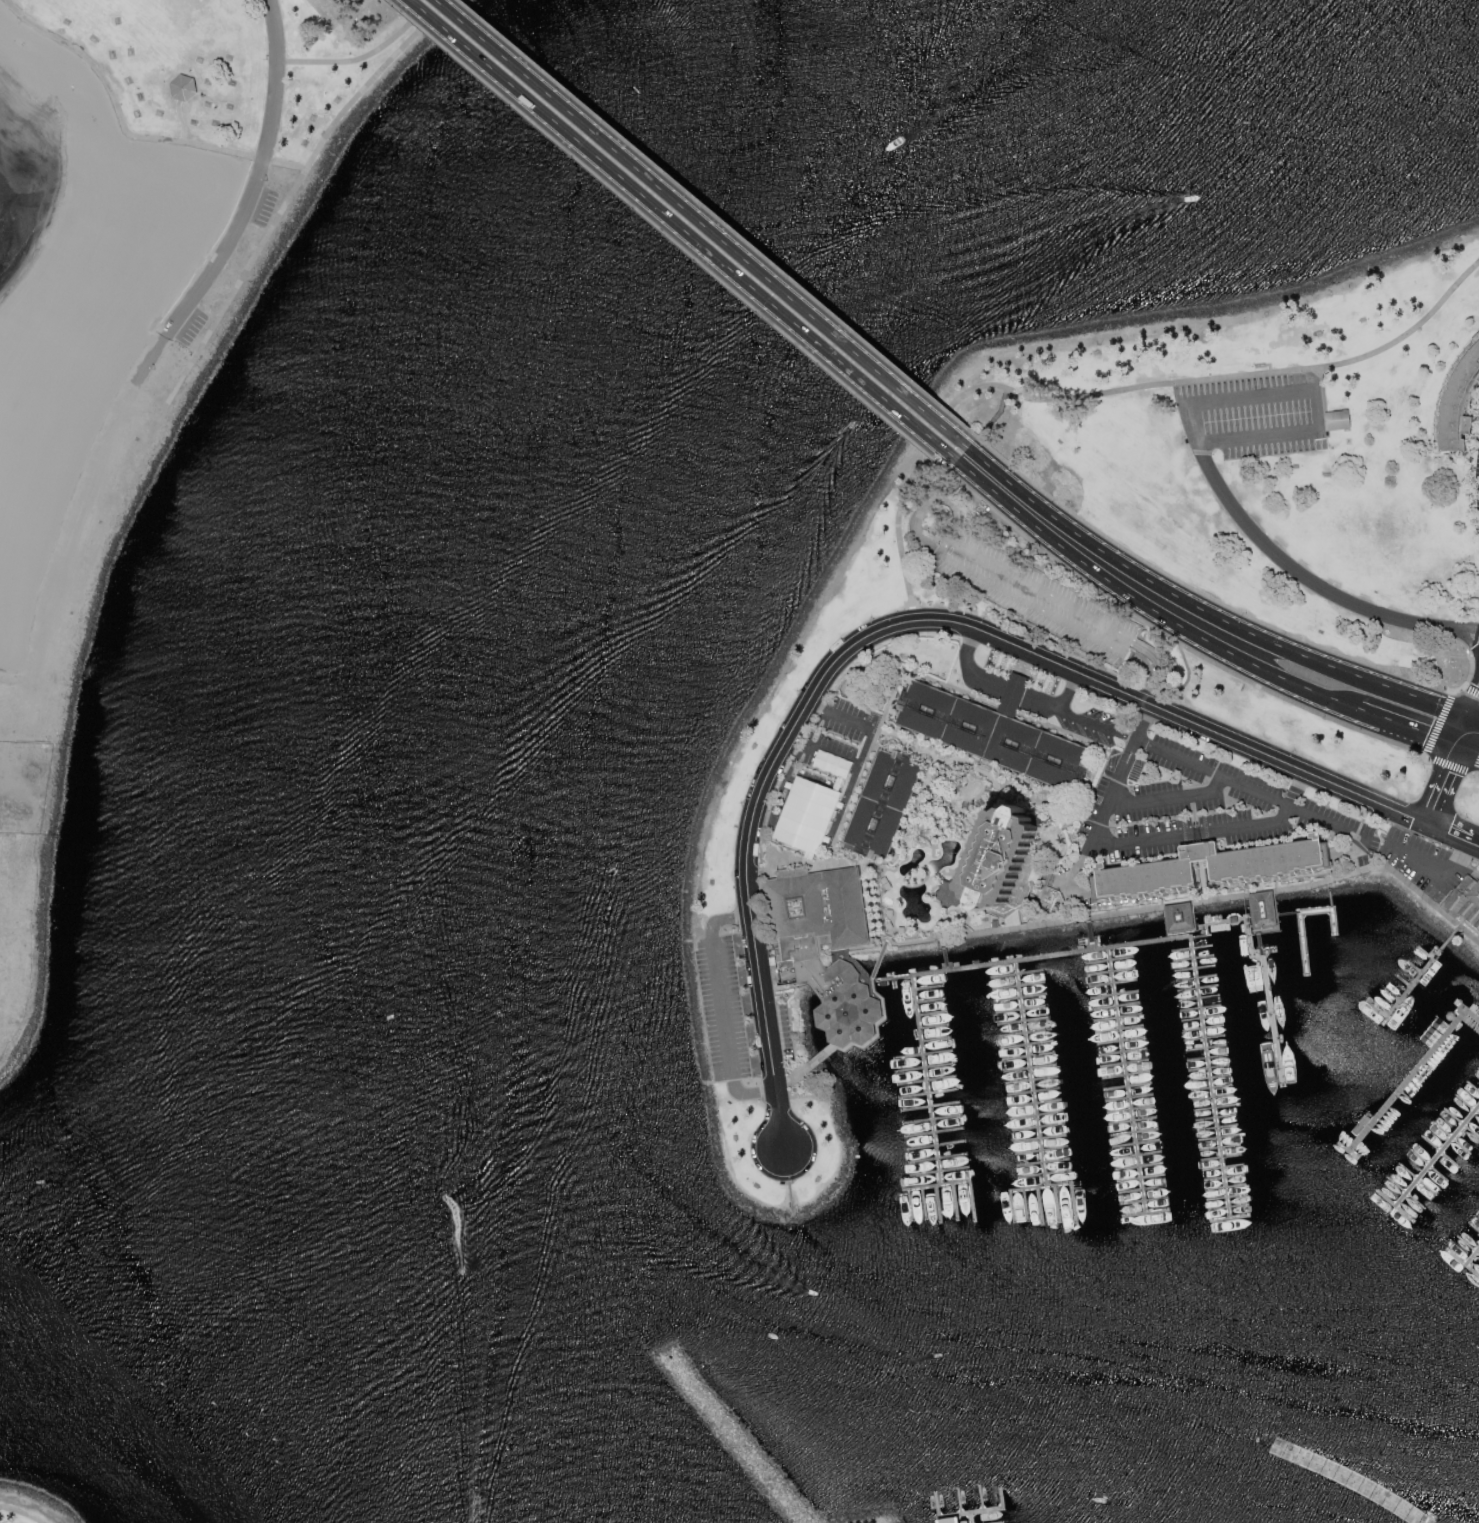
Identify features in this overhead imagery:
road: (366, 57)
park: (239, 67)
road: (280, 79)
building: (181, 86)
road: (349, 106)
road: (120, 111)
road: (717, 218)
road: (704, 224)
road: (685, 231)
road: (673, 237)
road: (1308, 379)
road: (1114, 391)
building: (1457, 402)
road: (1314, 403)
parking lot: (1256, 417)
building: (1339, 420)
road: (112, 428)
park: (97, 429)
road: (978, 438)
park: (1272, 449)
parking lot: (1477, 479)
road: (1286, 568)
road: (1144, 603)
road: (1220, 603)
road: (1204, 610)
road: (1072, 611)
road: (888, 629)
road: (1175, 641)
road: (996, 687)
road: (1069, 694)
road: (1475, 707)
road: (836, 715)
traffic signals: (1471, 716)
road: (1475, 717)
road: (1142, 724)
road: (1406, 724)
road: (1099, 727)
building: (996, 736)
road: (1434, 741)
road: (812, 743)
traffic signals: (1459, 744)
road: (1469, 747)
building: (832, 764)
road: (1447, 769)
road: (1476, 773)
road: (1168, 796)
building: (885, 804)
building: (807, 813)
road: (1330, 819)
road: (1224, 826)
road: (1452, 835)
building: (1017, 857)
building: (1260, 871)
road: (1437, 872)
building: (1464, 901)
road: (1081, 918)
pier: (1089, 933)
pier: (1172, 937)
pier: (942, 953)
building: (801, 954)
pier: (1417, 982)
road: (723, 1005)
pier: (1031, 1072)
pier: (1411, 1073)
pier: (926, 1078)
pier: (1126, 1079)
pier: (1437, 1156)
pier: (937, 1183)
pier: (1039, 1186)
pier: (1473, 1258)
pier: (1321, 1488)
pier: (981, 1497)
pier: (959, 1500)
pier: (936, 1504)
park: (30, 1506)
pier: (977, 1510)
road: (23, 1513)
pier: (970, 1517)
pier: (956, 1518)
building: (948, 1520)
pier: (999, 1522)

